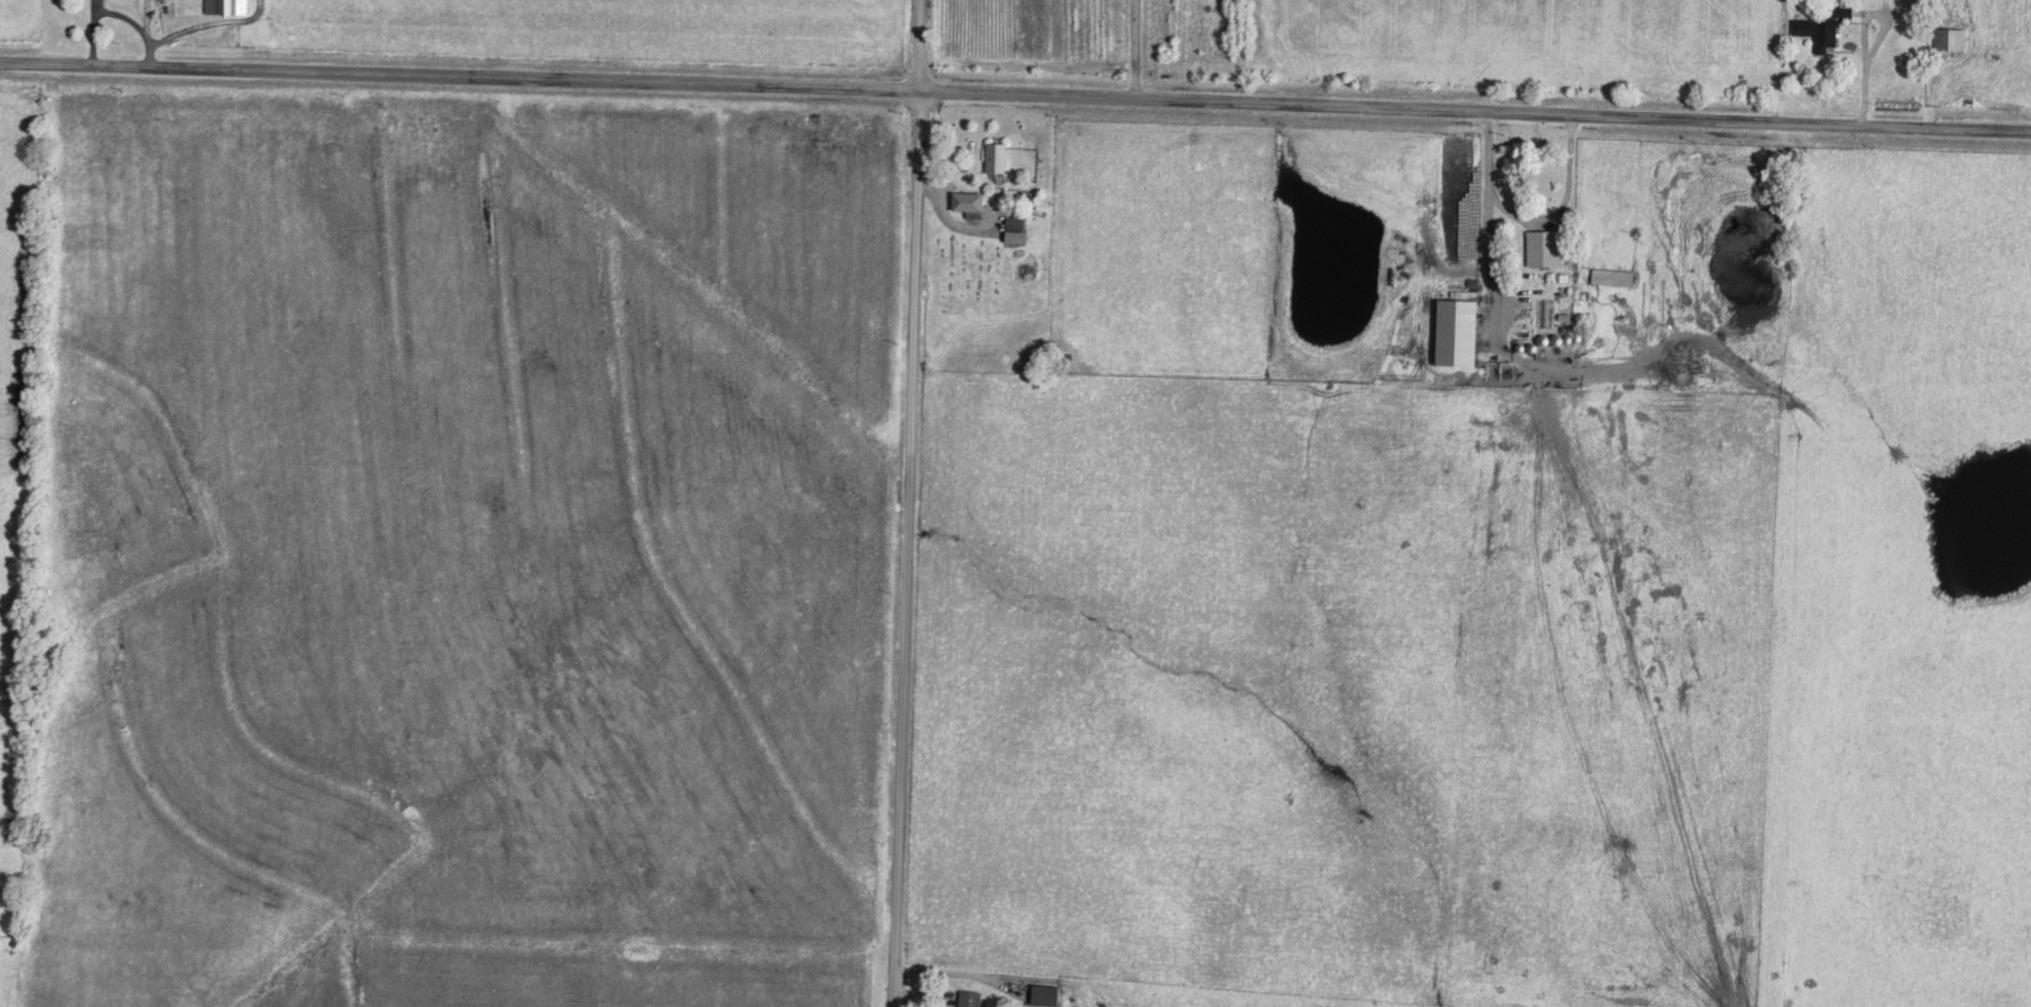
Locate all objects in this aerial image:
building: (1927, 0)
building: (226, 8)
building: (1817, 33)
building: (1949, 39)
road: (1105, 54)
road: (1015, 106)
building: (995, 158)
building: (967, 202)
building: (1015, 227)
road: (1528, 227)
building: (1543, 249)
building: (1612, 278)
building: (1455, 332)
road: (894, 503)
crop: (471, 547)
crop: (14, 972)
building: (1044, 996)
building: (968, 999)

